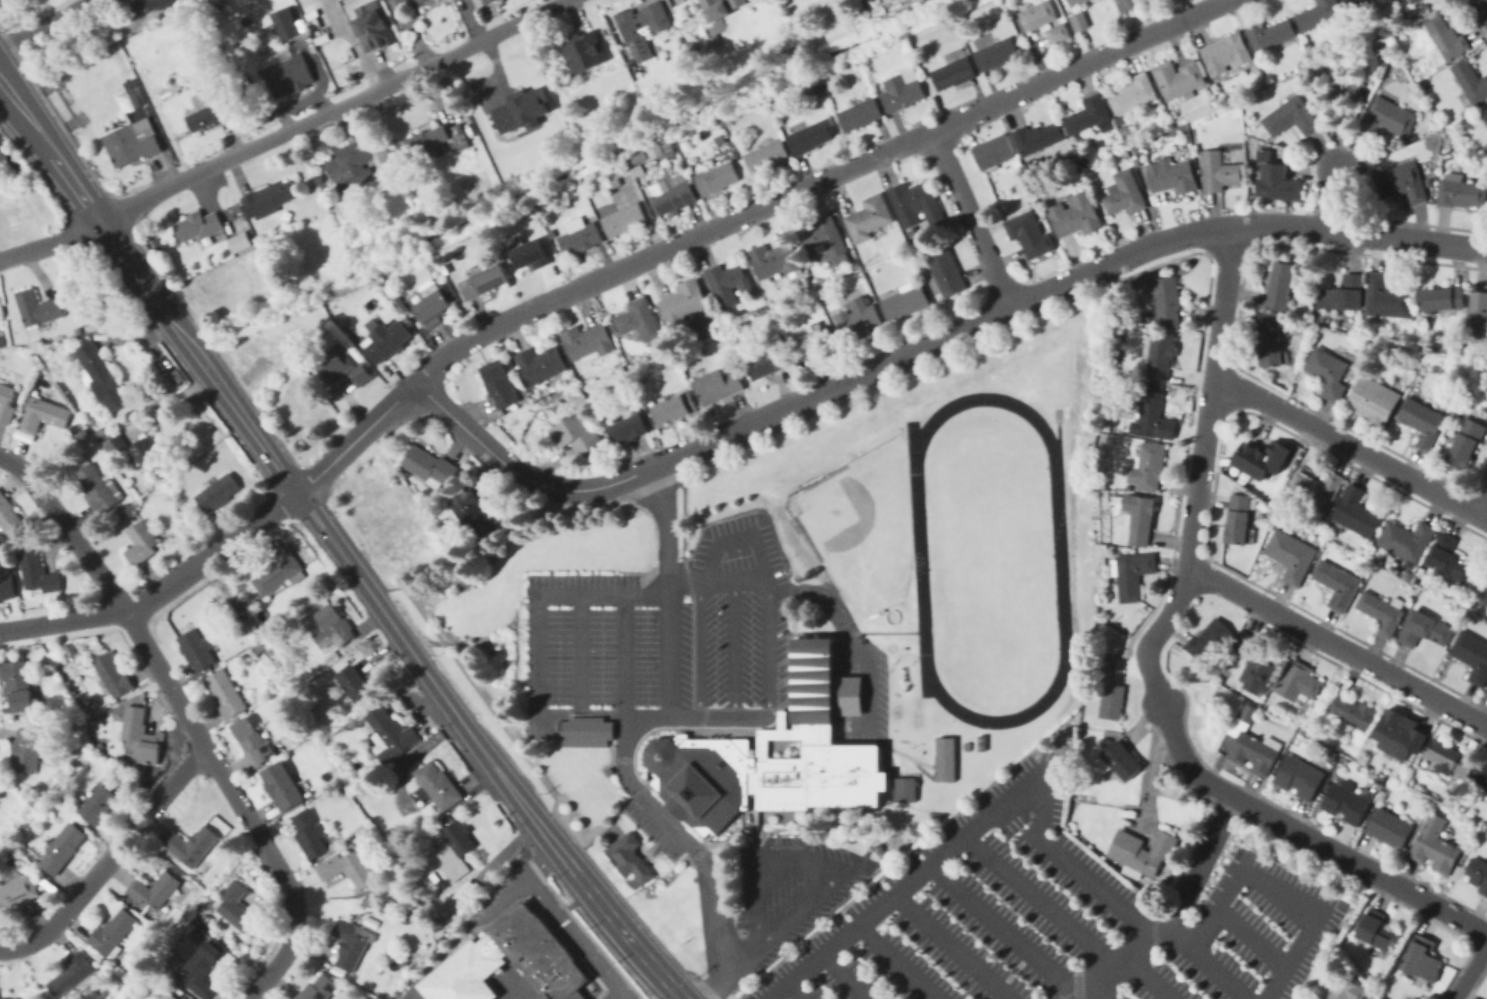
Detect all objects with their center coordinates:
building: (396, 0)
building: (416, 0)
building: (922, 0)
building: (927, 0)
building: (1410, 0)
building: (401, 1)
building: (422, 1)
building: (673, 1)
building: (1414, 1)
building: (483, 2)
building: (1385, 2)
building: (235, 3)
building: (1075, 3)
building: (1129, 4)
road: (1483, 6)
building: (1357, 7)
road: (528, 8)
building: (720, 8)
building: (208, 9)
building: (691, 11)
building: (1319, 14)
building: (1038, 15)
building: (312, 16)
building: (643, 21)
building: (1079, 22)
road: (47, 25)
building: (286, 25)
building: (691, 25)
building: (373, 30)
building: (1058, 34)
building: (1270, 34)
building: (1446, 40)
building: (715, 41)
building: (691, 45)
building: (1224, 50)
building: (581, 51)
building: (787, 53)
building: (995, 53)
building: (666, 58)
building: (287, 73)
building: (953, 73)
building: (1178, 78)
building: (1469, 84)
building: (171, 87)
building: (1348, 88)
building: (902, 92)
building: (1134, 94)
building: (135, 99)
building: (208, 109)
building: (1087, 114)
building: (860, 115)
building: (1484, 115)
building: (512, 117)
building: (1292, 117)
building: (1347, 117)
building: (1388, 118)
building: (1126, 130)
road: (284, 131)
building: (470, 131)
building: (810, 137)
building: (438, 138)
building: (1037, 138)
building: (130, 145)
building: (993, 152)
building: (1262, 154)
building: (767, 156)
building: (640, 158)
building: (1086, 161)
building: (358, 163)
building: (1279, 167)
building: (1219, 170)
building: (1171, 177)
building: (716, 178)
building: (1401, 182)
building: (616, 183)
road: (814, 184)
building: (1285, 189)
building: (1461, 192)
building: (1125, 194)
road: (1336, 194)
building: (673, 195)
building: (270, 198)
building: (913, 202)
building: (1076, 215)
building: (869, 218)
road: (973, 218)
building: (624, 219)
road: (1280, 223)
building: (198, 225)
building: (1029, 234)
building: (580, 236)
road: (1409, 237)
building: (822, 238)
building: (237, 240)
building: (160, 245)
building: (531, 254)
building: (775, 260)
building: (945, 274)
building: (484, 282)
building: (729, 284)
building: (1282, 285)
road: (148, 286)
building: (348, 288)
building: (226, 292)
building: (1342, 294)
building: (1442, 298)
building: (1167, 300)
building: (1387, 300)
building: (905, 301)
building: (683, 303)
building: (39, 307)
building: (433, 308)
building: (2, 311)
building: (405, 312)
building: (1478, 312)
building: (859, 319)
building: (639, 320)
building: (77, 330)
building: (2, 340)
building: (289, 340)
building: (588, 340)
building: (388, 341)
building: (1269, 341)
building: (813, 344)
building: (253, 347)
building: (1159, 355)
building: (333, 363)
building: (541, 364)
building: (766, 364)
building: (1328, 372)
building: (362, 373)
building: (101, 376)
building: (176, 377)
building: (500, 384)
building: (719, 385)
building: (1486, 387)
road: (811, 393)
road: (1210, 394)
building: (1374, 400)
building: (6, 403)
building: (674, 408)
building: (298, 410)
building: (44, 415)
building: (1153, 416)
building: (1422, 421)
building: (628, 429)
building: (577, 434)
road: (355, 437)
building: (115, 444)
building: (1466, 444)
road: (1350, 445)
building: (144, 452)
building: (1261, 459)
building: (427, 465)
building: (1147, 467)
building: (392, 469)
building: (99, 488)
building: (404, 490)
building: (1315, 492)
building: (217, 493)
building: (379, 500)
road: (1483, 507)
building: (1357, 513)
building: (8, 514)
building: (472, 515)
building: (423, 517)
building: (1238, 519)
building: (1142, 521)
road: (667, 524)
park: (859, 525)
road: (66, 528)
building: (1407, 540)
building: (141, 542)
building: (399, 545)
road: (212, 553)
building: (1291, 555)
track: (1058, 559)
building: (1449, 560)
building: (280, 571)
building: (39, 573)
building: (1133, 574)
road: (703, 583)
road: (1222, 583)
building: (1338, 584)
building: (7, 587)
building: (1479, 590)
road: (544, 596)
building: (1383, 612)
road: (1168, 613)
park: (891, 615)
road: (63, 622)
building: (331, 628)
building: (1424, 629)
parking lot: (664, 630)
road: (851, 632)
building: (1209, 640)
building: (1245, 643)
building: (196, 650)
road: (735, 650)
road: (770, 651)
road: (582, 655)
road: (627, 655)
building: (1472, 656)
building: (1103, 663)
road: (1372, 663)
park: (849, 669)
building: (1260, 672)
road: (426, 673)
building: (112, 675)
road: (1152, 681)
building: (1298, 681)
building: (355, 683)
building: (18, 685)
building: (1486, 689)
building: (226, 693)
building: (1112, 701)
building: (1352, 711)
building: (587, 731)
building: (791, 733)
building: (145, 735)
building: (391, 735)
building: (1399, 735)
building: (253, 740)
building: (980, 742)
building: (1251, 743)
building: (27, 750)
building: (1450, 758)
building: (944, 759)
building: (1119, 760)
building: (1482, 775)
building: (1299, 777)
building: (282, 785)
building: (436, 787)
building: (904, 789)
road: (1017, 791)
building: (0, 794)
road: (239, 802)
building: (1346, 803)
building: (100, 805)
road: (481, 814)
road: (473, 821)
building: (1390, 828)
parking lot: (656, 829)
building: (310, 834)
road: (1306, 835)
road: (686, 839)
building: (1435, 845)
building: (193, 847)
building: (64, 848)
building: (452, 848)
building: (879, 850)
road: (503, 851)
building: (1142, 852)
building: (626, 856)
road: (110, 858)
road: (815, 859)
road: (1201, 862)
building: (347, 868)
building: (1478, 873)
building: (155, 889)
parking lot: (793, 889)
building: (17, 893)
road: (1277, 893)
building: (462, 895)
road: (500, 901)
building: (237, 907)
road: (1065, 919)
road: (576, 920)
road: (563, 922)
road: (619, 927)
road: (1005, 929)
parking lot: (569, 930)
building: (1376, 930)
building: (113, 933)
building: (352, 943)
road: (956, 946)
building: (511, 947)
road: (1117, 956)
building: (1423, 959)
road: (897, 961)
road: (1203, 966)
building: (202, 970)
road: (728, 973)
road: (1470, 974)
building: (73, 975)
road: (793, 975)
road: (846, 975)
building: (319, 988)
road: (602, 990)
road: (795, 990)
building: (1347, 990)
road: (1087, 995)
building: (169, 996)
building: (183, 997)
building: (8, 998)
building: (18, 998)
building: (186, 998)
building: (1319, 998)

